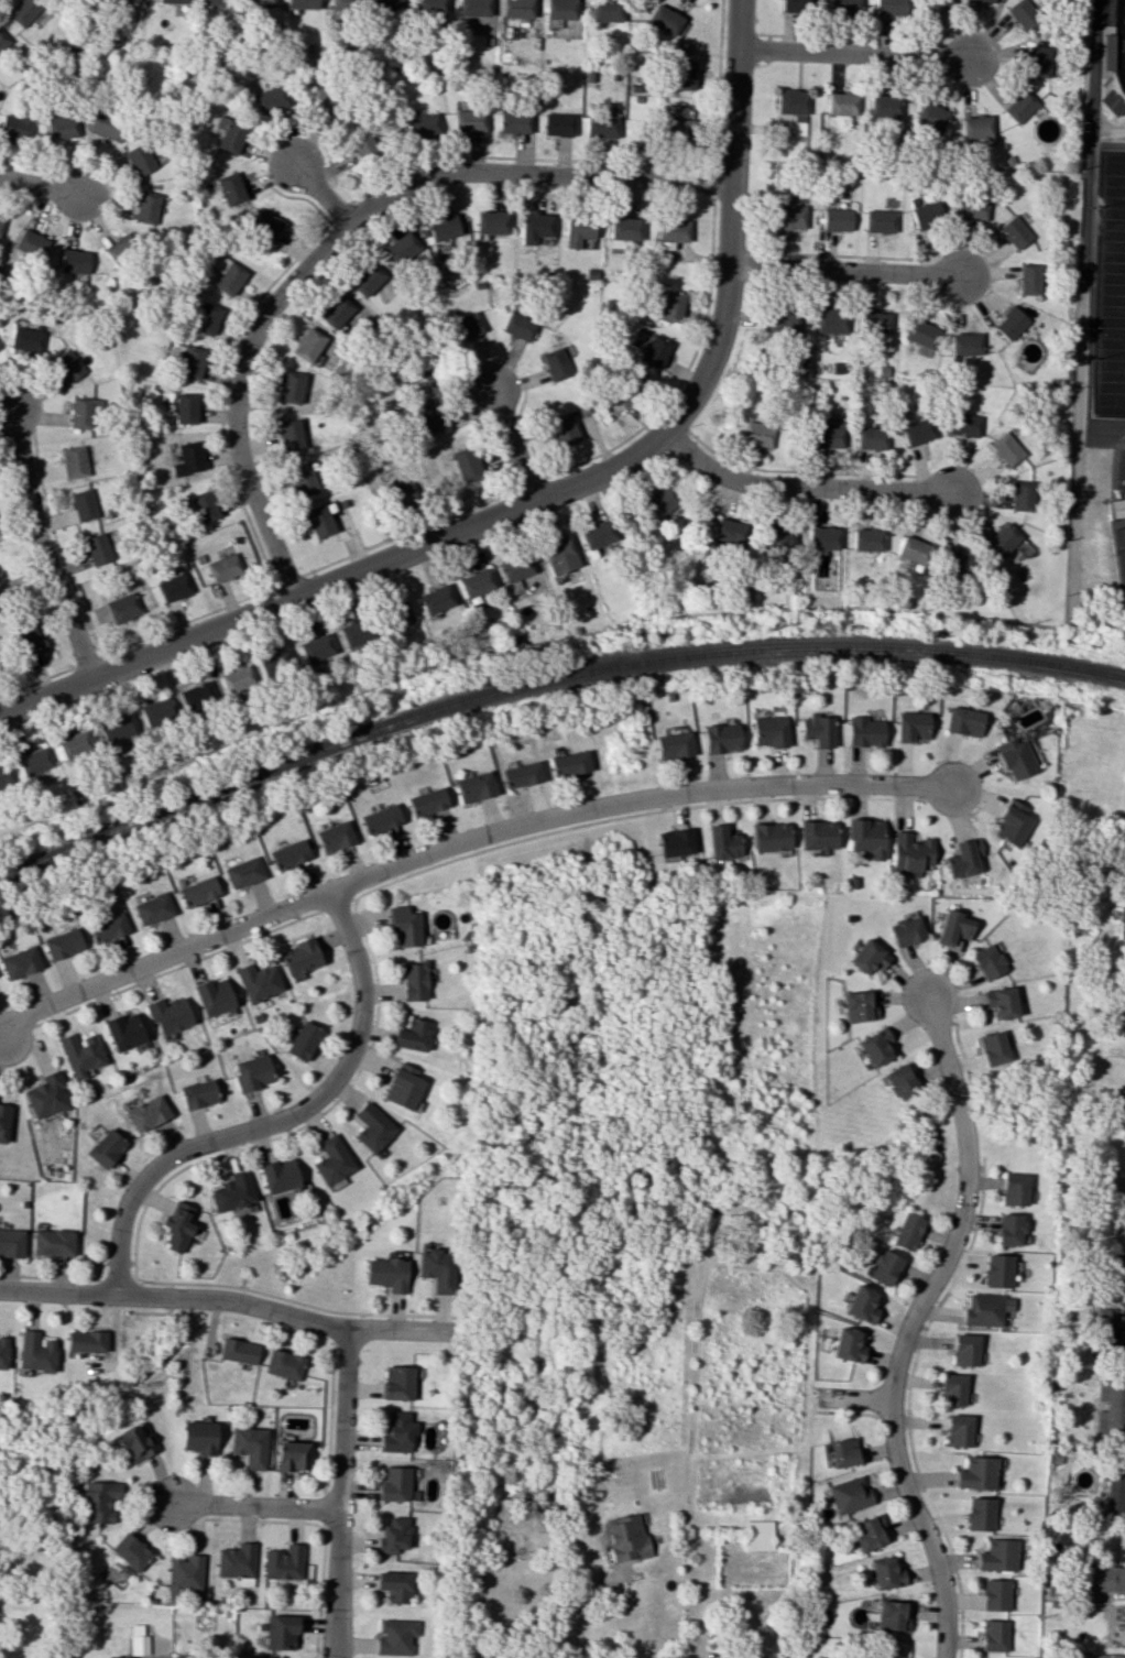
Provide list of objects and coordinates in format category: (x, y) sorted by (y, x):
building: (985, 0)
building: (173, 1)
building: (215, 2)
building: (259, 3)
building: (303, 3)
building: (937, 3)
building: (385, 6)
building: (795, 6)
building: (429, 7)
building: (844, 7)
building: (473, 8)
building: (516, 8)
building: (888, 8)
building: (559, 9)
building: (604, 10)
building: (23, 11)
building: (1024, 14)
building: (664, 20)
road: (738, 34)
building: (2, 36)
park: (1116, 36)
road: (845, 39)
building: (1107, 52)
road: (854, 53)
building: (1038, 61)
building: (682, 75)
road: (734, 90)
building: (321, 98)
building: (271, 99)
building: (793, 103)
building: (841, 103)
building: (884, 106)
building: (1019, 106)
building: (469, 120)
building: (929, 120)
building: (516, 121)
building: (557, 124)
building: (106, 126)
building: (14, 127)
building: (61, 127)
building: (423, 127)
building: (601, 127)
building: (975, 127)
building: (675, 129)
building: (230, 134)
building: (361, 141)
building: (140, 159)
road: (612, 163)
road: (26, 165)
road: (714, 182)
road: (39, 185)
building: (231, 188)
road: (324, 196)
building: (148, 206)
building: (972, 208)
road: (342, 212)
building: (928, 214)
building: (788, 217)
building: (835, 219)
building: (878, 220)
building: (0, 221)
building: (491, 222)
building: (265, 226)
building: (443, 227)
building: (534, 227)
building: (623, 229)
building: (577, 230)
road: (339, 231)
building: (1015, 231)
building: (670, 232)
building: (31, 243)
building: (401, 247)
building: (119, 248)
road: (730, 251)
road: (835, 255)
building: (74, 261)
road: (845, 271)
building: (228, 274)
building: (367, 279)
building: (1029, 279)
park: (1110, 295)
building: (668, 305)
building: (338, 312)
road: (722, 313)
building: (207, 318)
building: (783, 319)
building: (831, 320)
building: (1009, 323)
building: (466, 326)
building: (518, 326)
building: (876, 326)
building: (920, 336)
building: (26, 340)
building: (964, 343)
building: (309, 346)
building: (654, 351)
building: (193, 362)
building: (555, 363)
building: (68, 364)
building: (291, 386)
building: (614, 400)
building: (186, 408)
road: (654, 415)
building: (427, 417)
road: (676, 419)
building: (963, 424)
building: (561, 429)
building: (917, 432)
building: (756, 434)
building: (828, 434)
building: (290, 435)
building: (870, 438)
road: (511, 445)
road: (226, 447)
building: (1005, 449)
building: (188, 459)
building: (74, 461)
building: (466, 463)
road: (797, 471)
building: (303, 480)
road: (531, 483)
road: (798, 486)
building: (403, 494)
building: (1020, 495)
building: (660, 502)
building: (84, 504)
building: (204, 506)
building: (1116, 506)
building: (319, 521)
road: (412, 532)
building: (729, 532)
building: (597, 534)
building: (777, 535)
building: (822, 537)
building: (866, 539)
building: (1002, 539)
road: (58, 546)
road: (41, 547)
building: (98, 548)
building: (914, 550)
building: (558, 555)
building: (959, 561)
building: (223, 567)
building: (514, 567)
road: (336, 579)
road: (291, 580)
building: (476, 582)
building: (174, 587)
building: (436, 599)
building: (122, 607)
building: (397, 614)
building: (354, 632)
building: (28, 640)
building: (315, 648)
road: (90, 661)
building: (274, 664)
building: (237, 678)
road: (39, 683)
railway: (547, 683)
building: (157, 711)
building: (963, 721)
building: (911, 726)
building: (117, 728)
building: (818, 730)
building: (768, 731)
building: (864, 732)
building: (721, 738)
building: (74, 745)
building: (673, 745)
building: (1015, 759)
building: (34, 761)
building: (568, 763)
building: (521, 774)
building: (0, 784)
building: (474, 786)
building: (427, 801)
building: (381, 818)
building: (1012, 823)
building: (817, 835)
building: (335, 836)
building: (771, 837)
building: (865, 837)
road: (461, 839)
building: (675, 842)
building: (722, 842)
building: (909, 852)
building: (290, 854)
building: (963, 858)
building: (1123, 865)
building: (244, 872)
building: (199, 891)
building: (153, 908)
building: (404, 927)
building: (952, 927)
building: (1122, 927)
building: (108, 928)
building: (905, 930)
building: (63, 943)
building: (301, 957)
building: (867, 957)
building: (986, 961)
building: (20, 962)
building: (259, 981)
building: (414, 981)
building: (214, 996)
building: (1000, 1002)
building: (858, 1006)
building: (1124, 1013)
building: (168, 1016)
building: (123, 1030)
building: (413, 1035)
building: (303, 1040)
building: (875, 1046)
building: (992, 1048)
building: (80, 1054)
building: (253, 1072)
building: (898, 1082)
building: (403, 1086)
building: (1124, 1088)
building: (198, 1093)
building: (46, 1095)
building: (148, 1113)
road: (277, 1120)
building: (3, 1122)
building: (372, 1127)
building: (106, 1147)
building: (331, 1159)
building: (278, 1175)
building: (1014, 1189)
building: (1118, 1191)
building: (231, 1192)
building: (177, 1226)
building: (1009, 1229)
building: (906, 1231)
building: (11, 1242)
building: (53, 1242)
building: (1117, 1266)
building: (884, 1267)
building: (437, 1269)
building: (998, 1270)
building: (386, 1274)
road: (216, 1296)
building: (862, 1304)
building: (986, 1309)
building: (1105, 1312)
road: (913, 1326)
building: (1114, 1340)
building: (85, 1341)
building: (848, 1344)
building: (964, 1350)
building: (238, 1351)
building: (3, 1352)
building: (35, 1352)
building: (284, 1364)
building: (398, 1382)
building: (952, 1389)
road: (858, 1399)
building: (1111, 1408)
building: (959, 1430)
building: (397, 1432)
building: (198, 1437)
building: (134, 1444)
building: (249, 1446)
building: (844, 1452)
building: (292, 1455)
building: (976, 1473)
building: (394, 1483)
building: (1114, 1488)
road: (338, 1492)
building: (849, 1494)
building: (98, 1501)
road: (255, 1505)
building: (980, 1514)
building: (869, 1532)
building: (394, 1535)
building: (757, 1535)
building: (624, 1536)
building: (130, 1551)
building: (998, 1555)
building: (237, 1560)
building: (284, 1562)
building: (185, 1573)
building: (885, 1573)
building: (1106, 1578)
building: (394, 1585)
building: (995, 1594)
road: (582, 1606)
building: (891, 1616)
building: (280, 1632)
building: (994, 1635)
building: (395, 1636)
building: (138, 1640)
building: (1097, 1655)

